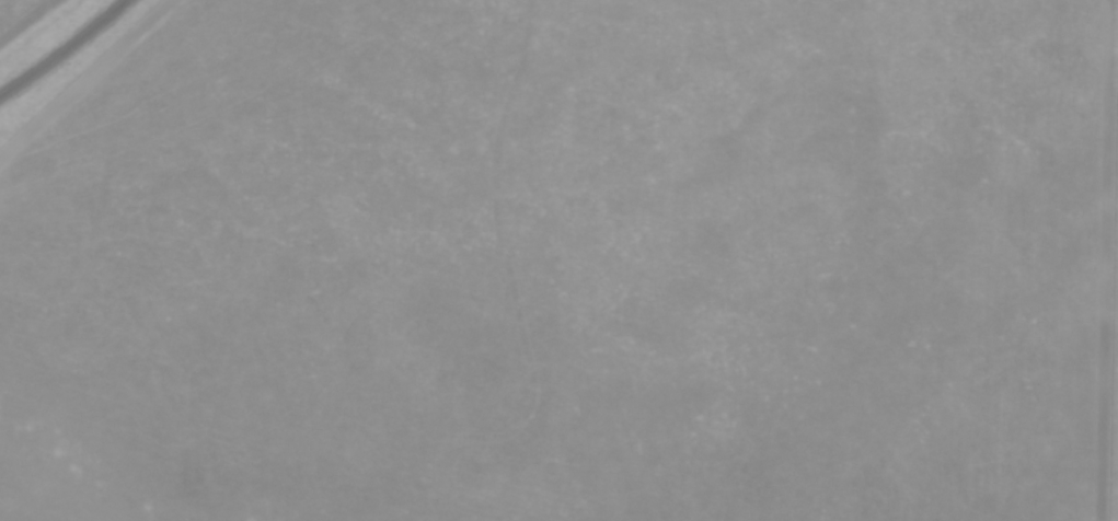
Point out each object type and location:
road: (65, 55)

